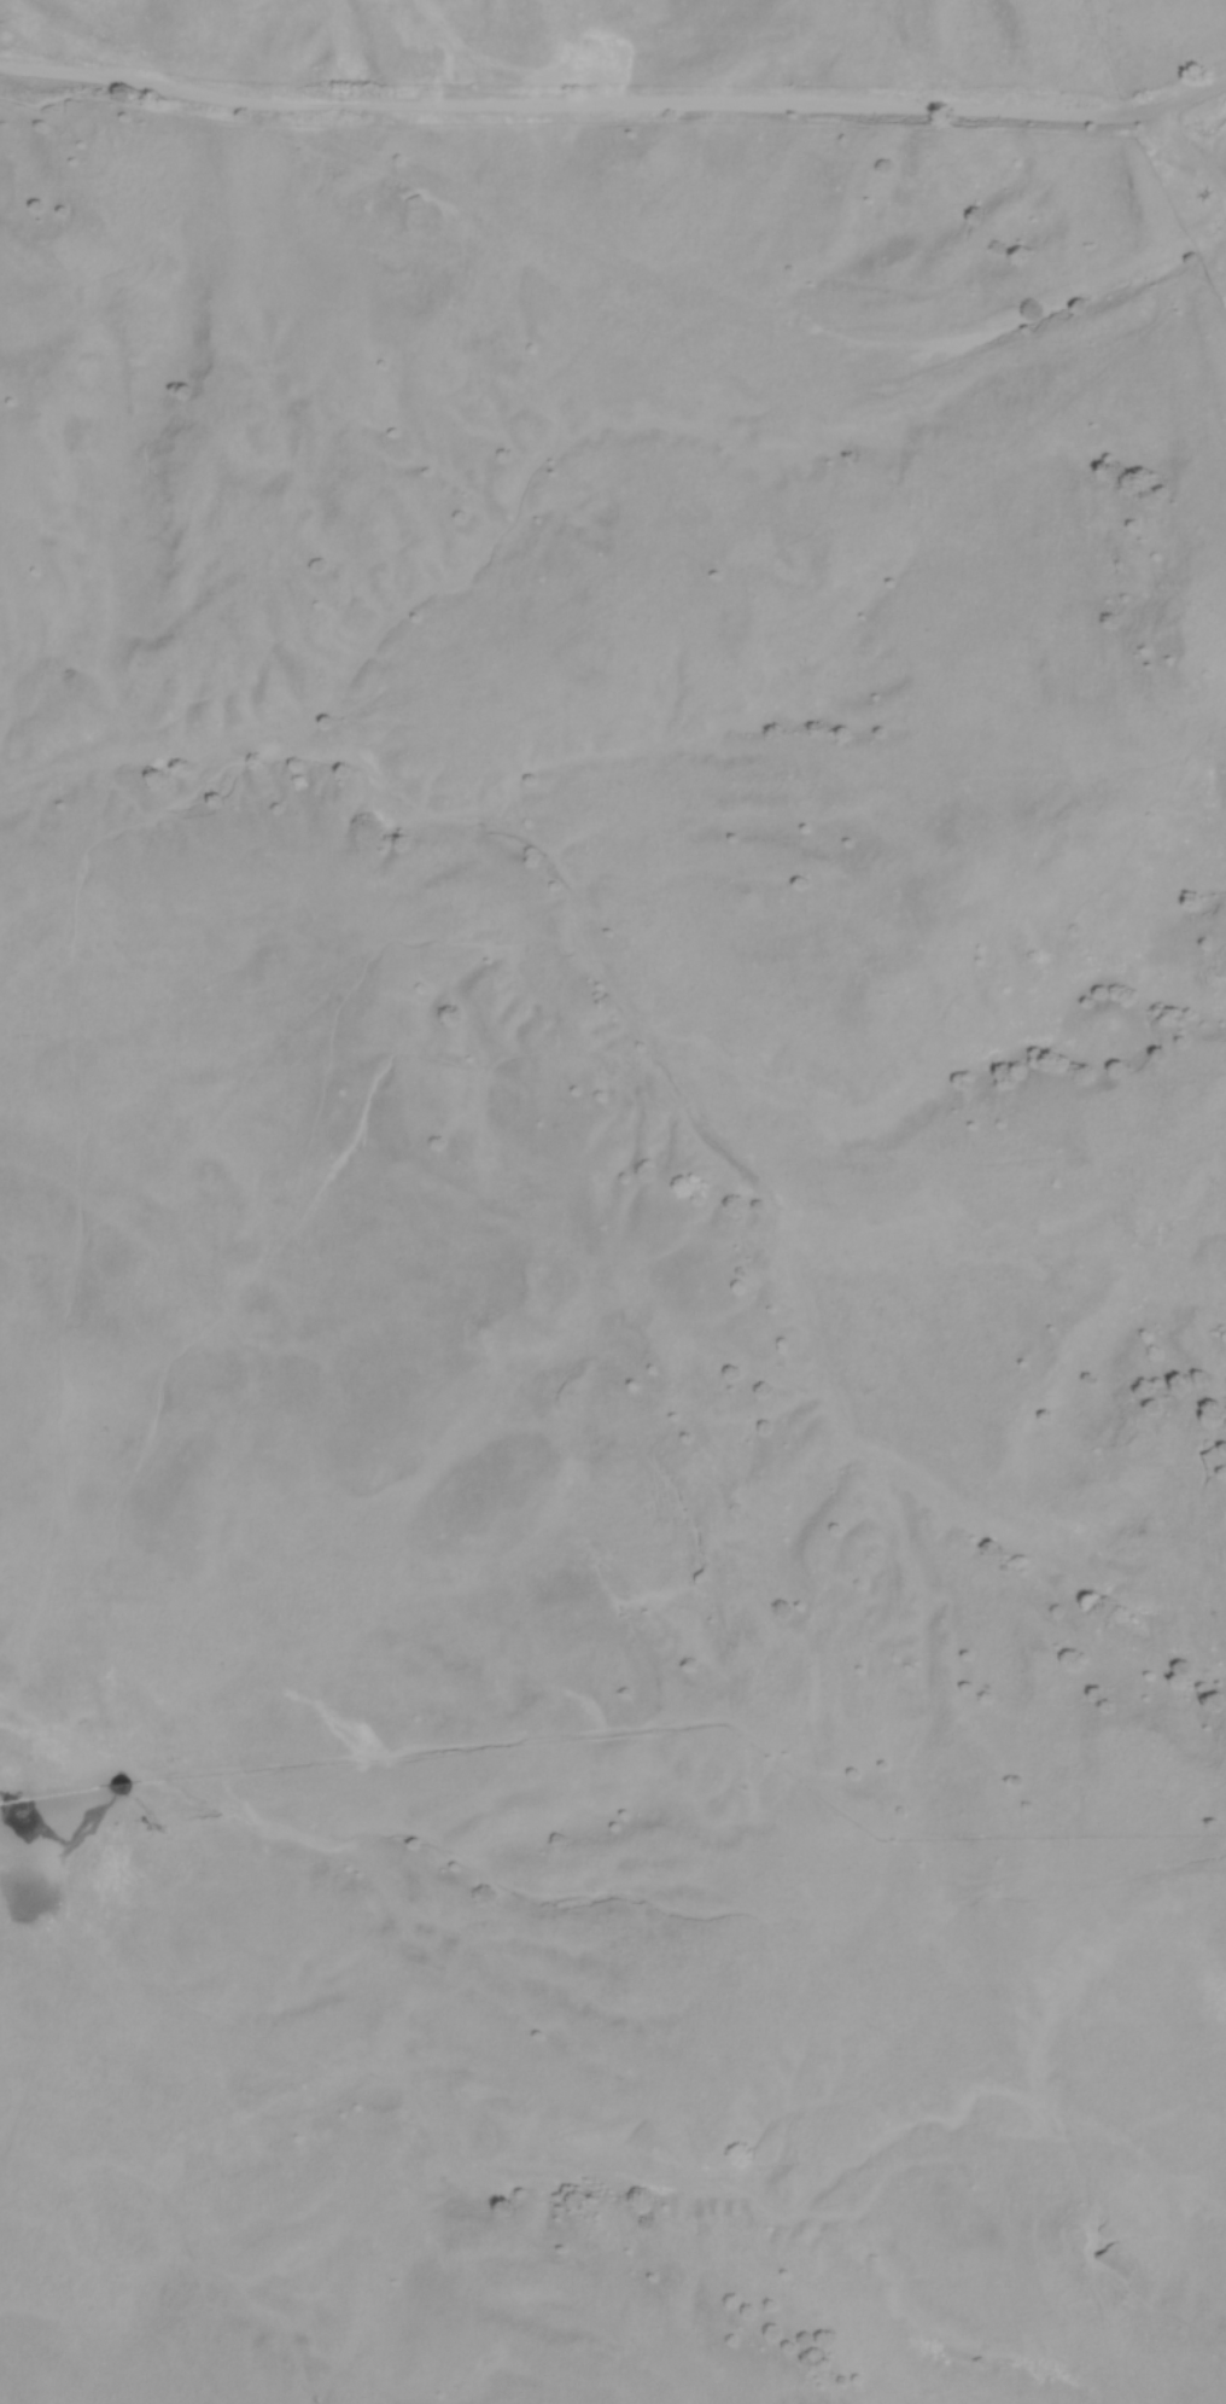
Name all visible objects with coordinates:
road: (615, 106)

